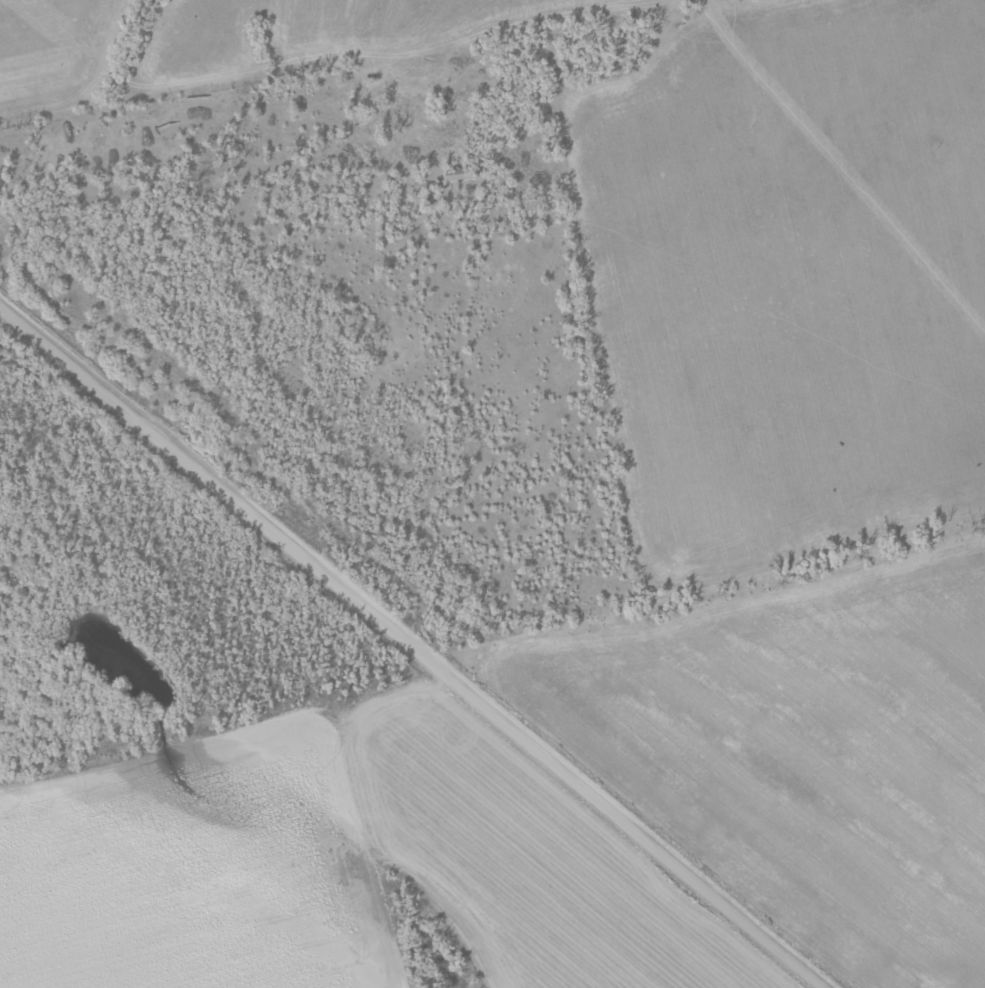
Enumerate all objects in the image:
railway: (441, 622)
road: (418, 647)

